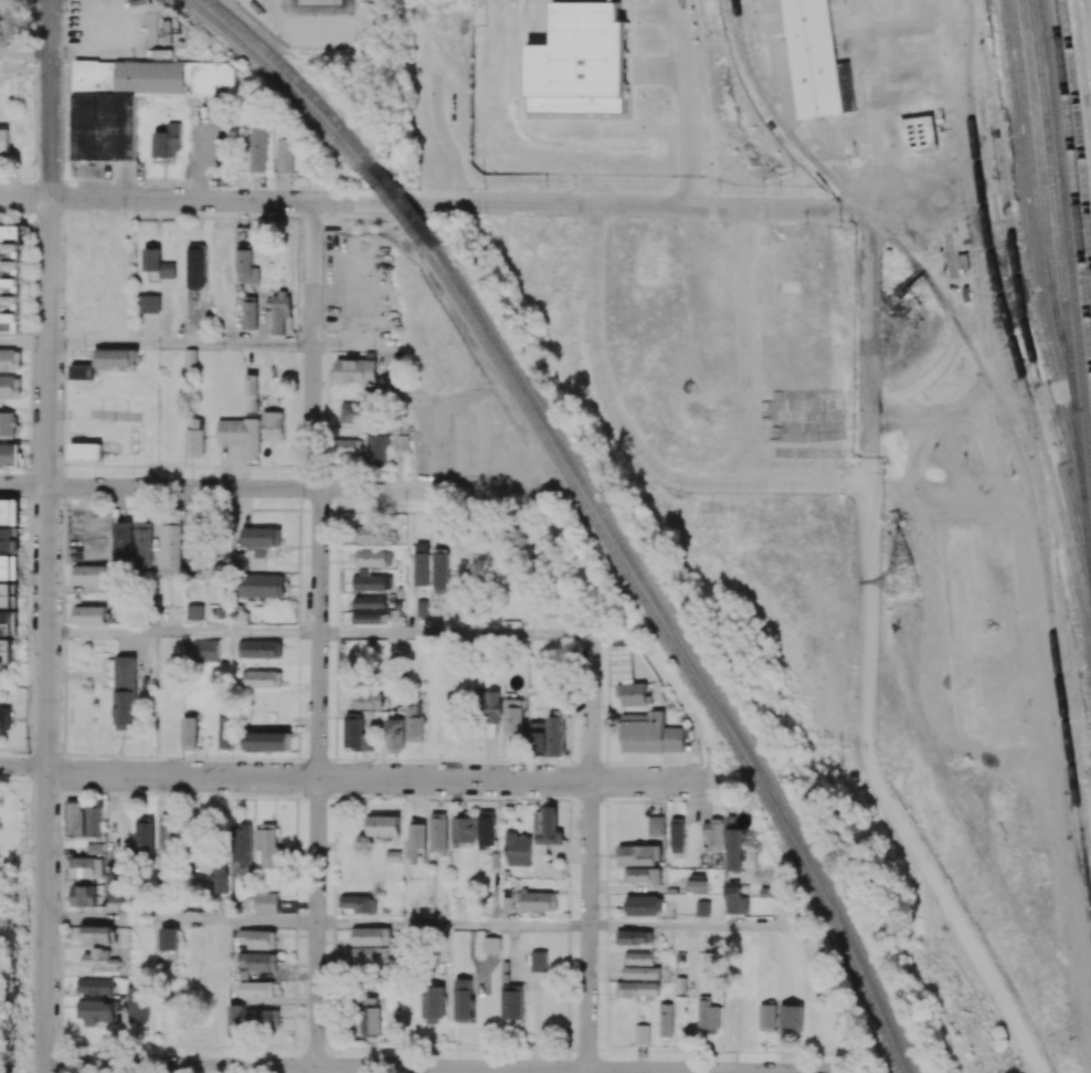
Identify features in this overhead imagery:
building: (321, 2)
street lamp: (65, 11)
railway: (1088, 20)
street lamp: (139, 29)
road: (103, 46)
railway: (745, 51)
road: (25, 52)
building: (814, 57)
building: (580, 63)
railway: (279, 78)
railway: (294, 78)
railway: (1082, 81)
road: (51, 98)
building: (133, 99)
road: (685, 99)
street lamp: (34, 111)
railway: (1088, 116)
railway: (1078, 120)
building: (918, 134)
building: (3, 140)
building: (167, 145)
building: (259, 149)
building: (286, 154)
railway: (1073, 170)
railway: (1041, 173)
road: (25, 197)
road: (371, 201)
railway: (404, 204)
railway: (393, 208)
road: (778, 208)
railway: (1037, 208)
street lamp: (134, 211)
railway: (1068, 225)
railway: (1031, 246)
building: (158, 264)
building: (248, 264)
building: (195, 266)
building: (11, 277)
railway: (1063, 286)
railway: (1021, 296)
building: (149, 304)
building: (280, 312)
building: (251, 313)
road: (360, 327)
railway: (1009, 328)
road: (595, 333)
road: (24, 341)
road: (871, 341)
road: (181, 344)
building: (117, 358)
building: (10, 360)
building: (357, 370)
building: (82, 372)
building: (10, 387)
building: (253, 393)
railway: (1000, 410)
building: (8, 423)
building: (274, 425)
building: (241, 435)
building: (194, 438)
building: (401, 444)
building: (348, 448)
building: (378, 451)
building: (85, 452)
building: (9, 454)
road: (870, 473)
road: (750, 483)
road: (252, 487)
railway: (1039, 491)
building: (9, 512)
building: (373, 535)
building: (7, 539)
building: (124, 541)
building: (255, 543)
building: (142, 544)
building: (171, 548)
building: (195, 549)
building: (372, 559)
building: (422, 565)
building: (6, 567)
building: (441, 570)
building: (91, 575)
power tower: (907, 580)
building: (370, 581)
building: (261, 586)
building: (6, 596)
building: (370, 602)
building: (422, 609)
building: (194, 612)
building: (91, 616)
road: (869, 616)
building: (368, 619)
building: (6, 623)
road: (183, 632)
road: (453, 634)
road: (46, 635)
road: (319, 637)
building: (261, 649)
building: (205, 650)
railway: (688, 650)
building: (6, 651)
railway: (677, 652)
building: (627, 678)
building: (263, 680)
building: (125, 693)
building: (367, 702)
building: (512, 717)
building: (6, 718)
building: (414, 722)
building: (226, 732)
building: (189, 734)
building: (650, 734)
building: (356, 735)
building: (557, 735)
building: (395, 736)
building: (539, 738)
building: (267, 741)
road: (23, 767)
road: (921, 770)
road: (591, 772)
road: (383, 778)
building: (75, 818)
building: (95, 821)
building: (384, 825)
building: (656, 825)
building: (547, 827)
building: (464, 831)
building: (712, 831)
building: (168, 832)
building: (438, 832)
building: (486, 832)
building: (677, 835)
building: (144, 838)
building: (415, 841)
building: (242, 846)
building: (268, 848)
building: (733, 849)
building: (96, 850)
building: (518, 850)
building: (639, 854)
road: (9, 864)
building: (87, 867)
building: (643, 875)
building: (219, 879)
building: (118, 886)
building: (696, 886)
building: (84, 896)
building: (539, 901)
building: (735, 902)
building: (266, 903)
building: (360, 904)
building: (643, 906)
building: (702, 908)
road: (181, 921)
park: (10, 923)
road: (454, 924)
road: (698, 926)
building: (99, 935)
building: (371, 937)
building: (634, 937)
building: (169, 939)
building: (256, 939)
road: (994, 944)
building: (491, 945)
building: (369, 956)
building: (640, 958)
building: (102, 960)
building: (539, 961)
building: (256, 964)
building: (642, 972)
building: (680, 986)
building: (96, 987)
building: (256, 989)
building: (640, 989)
building: (390, 992)
building: (463, 1000)
building: (511, 1002)
building: (139, 1004)
building: (432, 1004)
building: (99, 1012)
building: (371, 1017)
building: (708, 1017)
building: (767, 1018)
building: (791, 1018)
building: (262, 1020)
building: (666, 1020)
building: (234, 1022)
building: (642, 1034)
road: (434, 1069)

